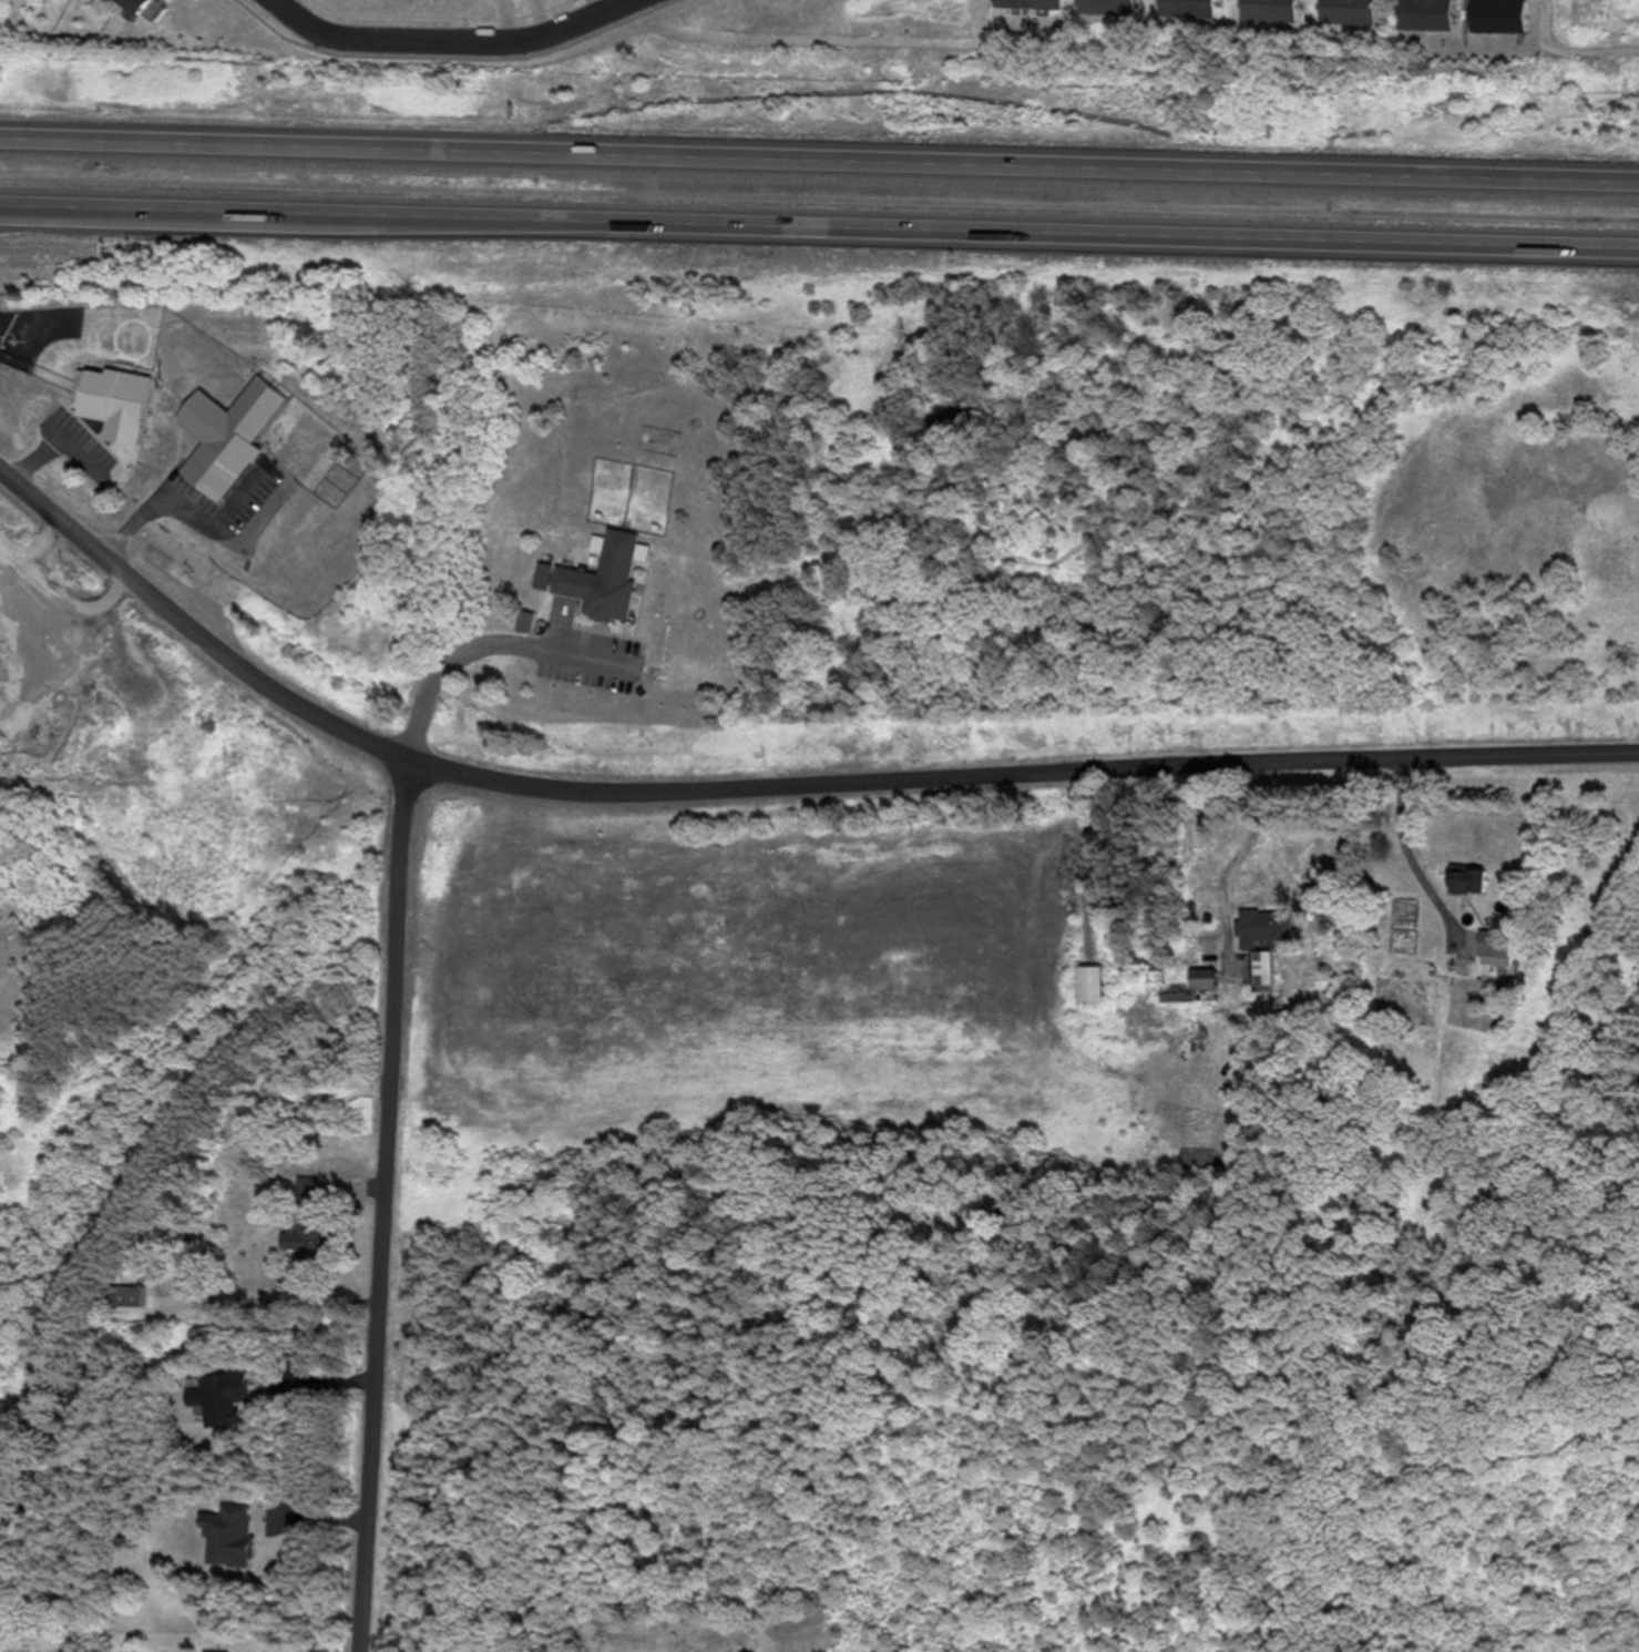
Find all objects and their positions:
building: (1027, 3)
building: (135, 6)
building: (1104, 6)
building: (1185, 8)
building: (1266, 10)
building: (1345, 11)
building: (1422, 14)
building: (1493, 16)
road: (450, 39)
park: (782, 41)
park: (1586, 45)
road: (819, 152)
building: (899, 156)
road: (819, 228)
building: (224, 434)
road: (174, 503)
building: (603, 574)
road: (482, 641)
road: (770, 784)
building: (1465, 879)
building: (1261, 926)
building: (1491, 942)
crop: (782, 961)
building: (1259, 970)
building: (1087, 982)
building: (1189, 990)
building: (305, 1189)
road: (381, 1204)
building: (300, 1237)
building: (122, 1294)
building: (217, 1395)

